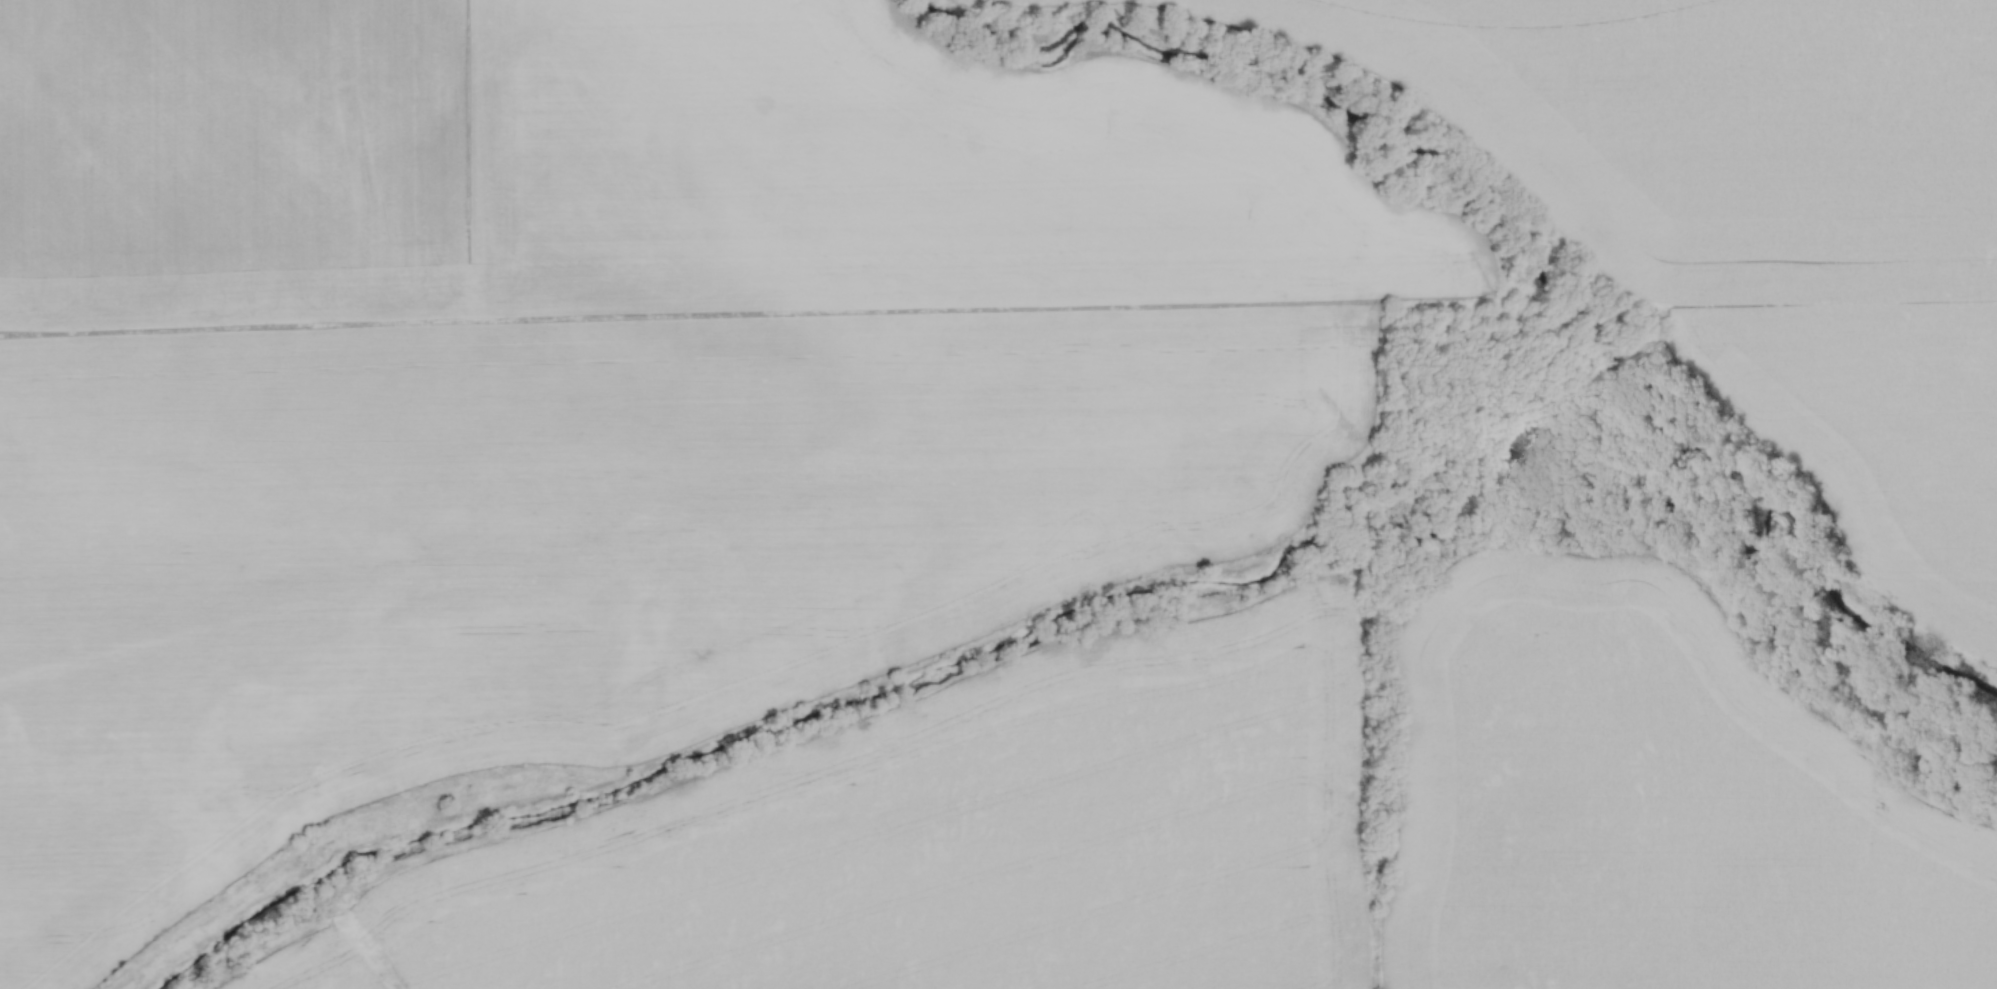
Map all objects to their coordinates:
river: (1842, 624)
crop: (1660, 802)

